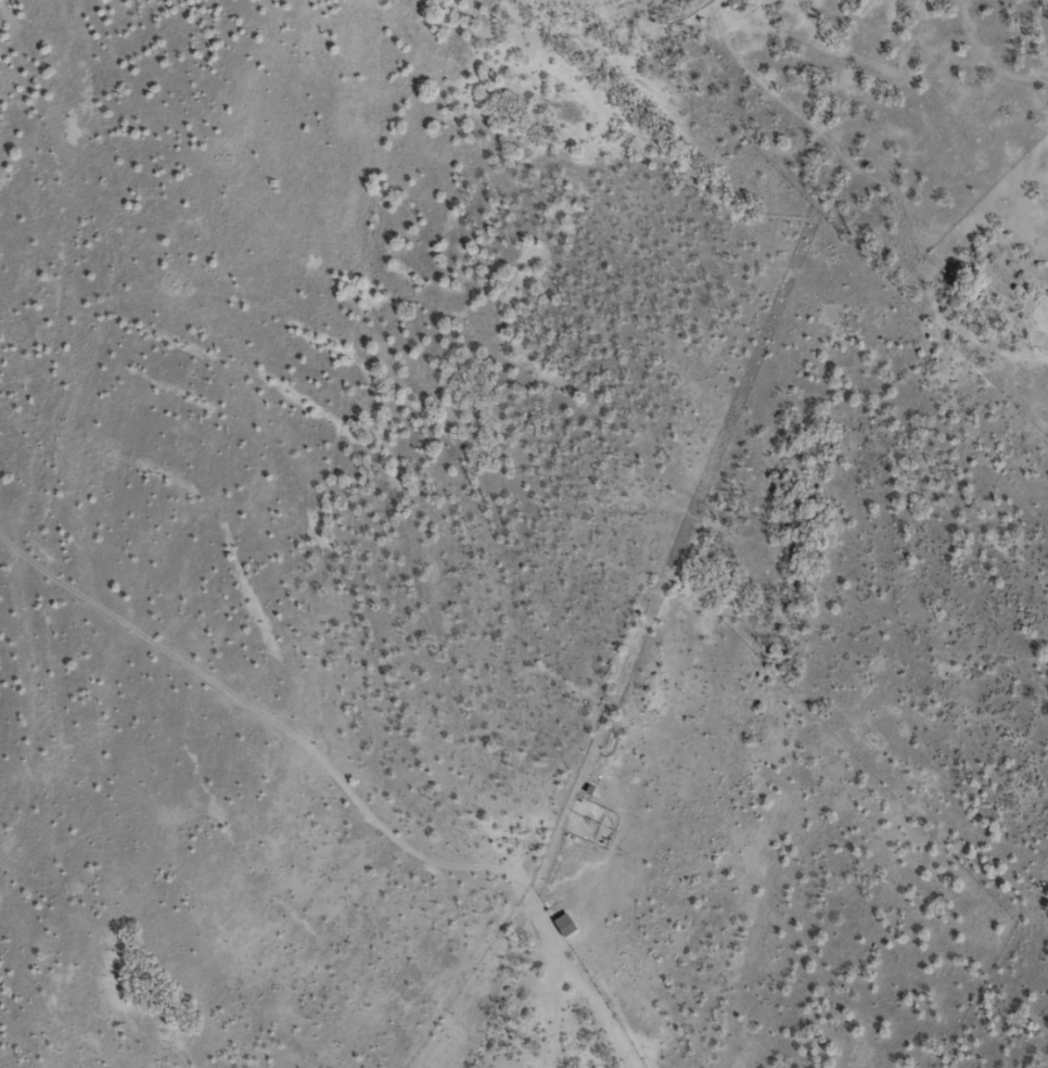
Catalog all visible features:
road: (405, 348)
road: (747, 607)
building: (561, 924)

